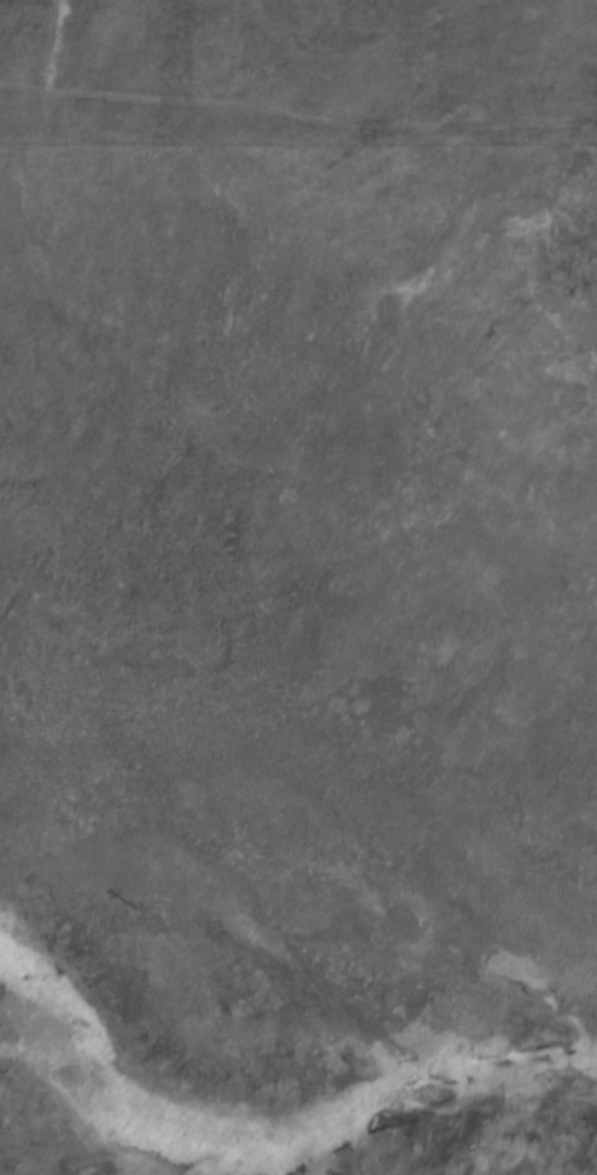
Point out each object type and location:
power tower: (142, 913)

